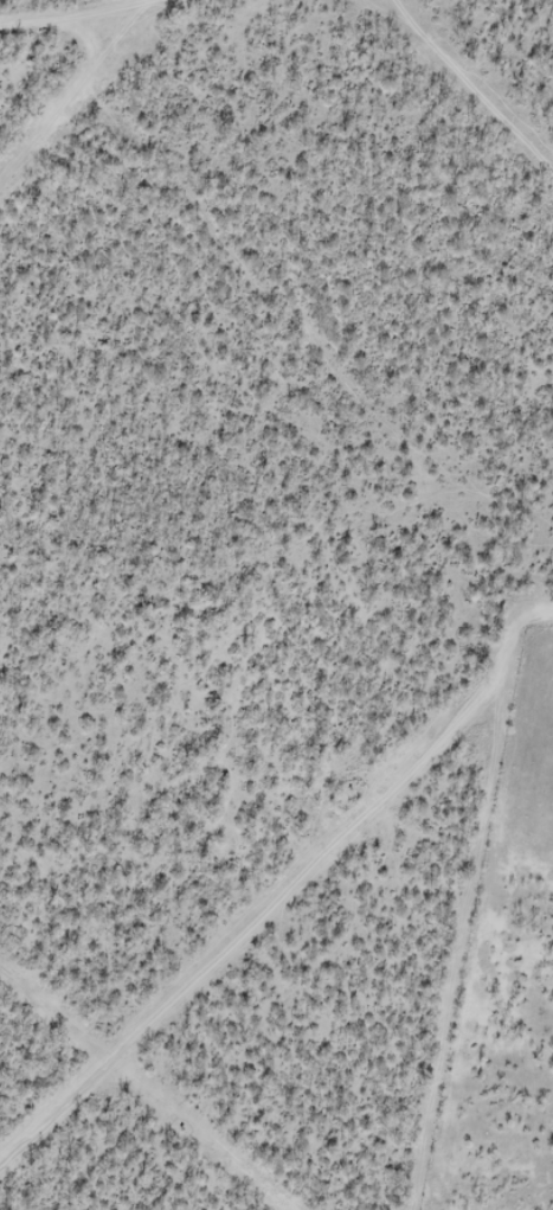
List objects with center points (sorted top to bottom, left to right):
road: (169, 44)

